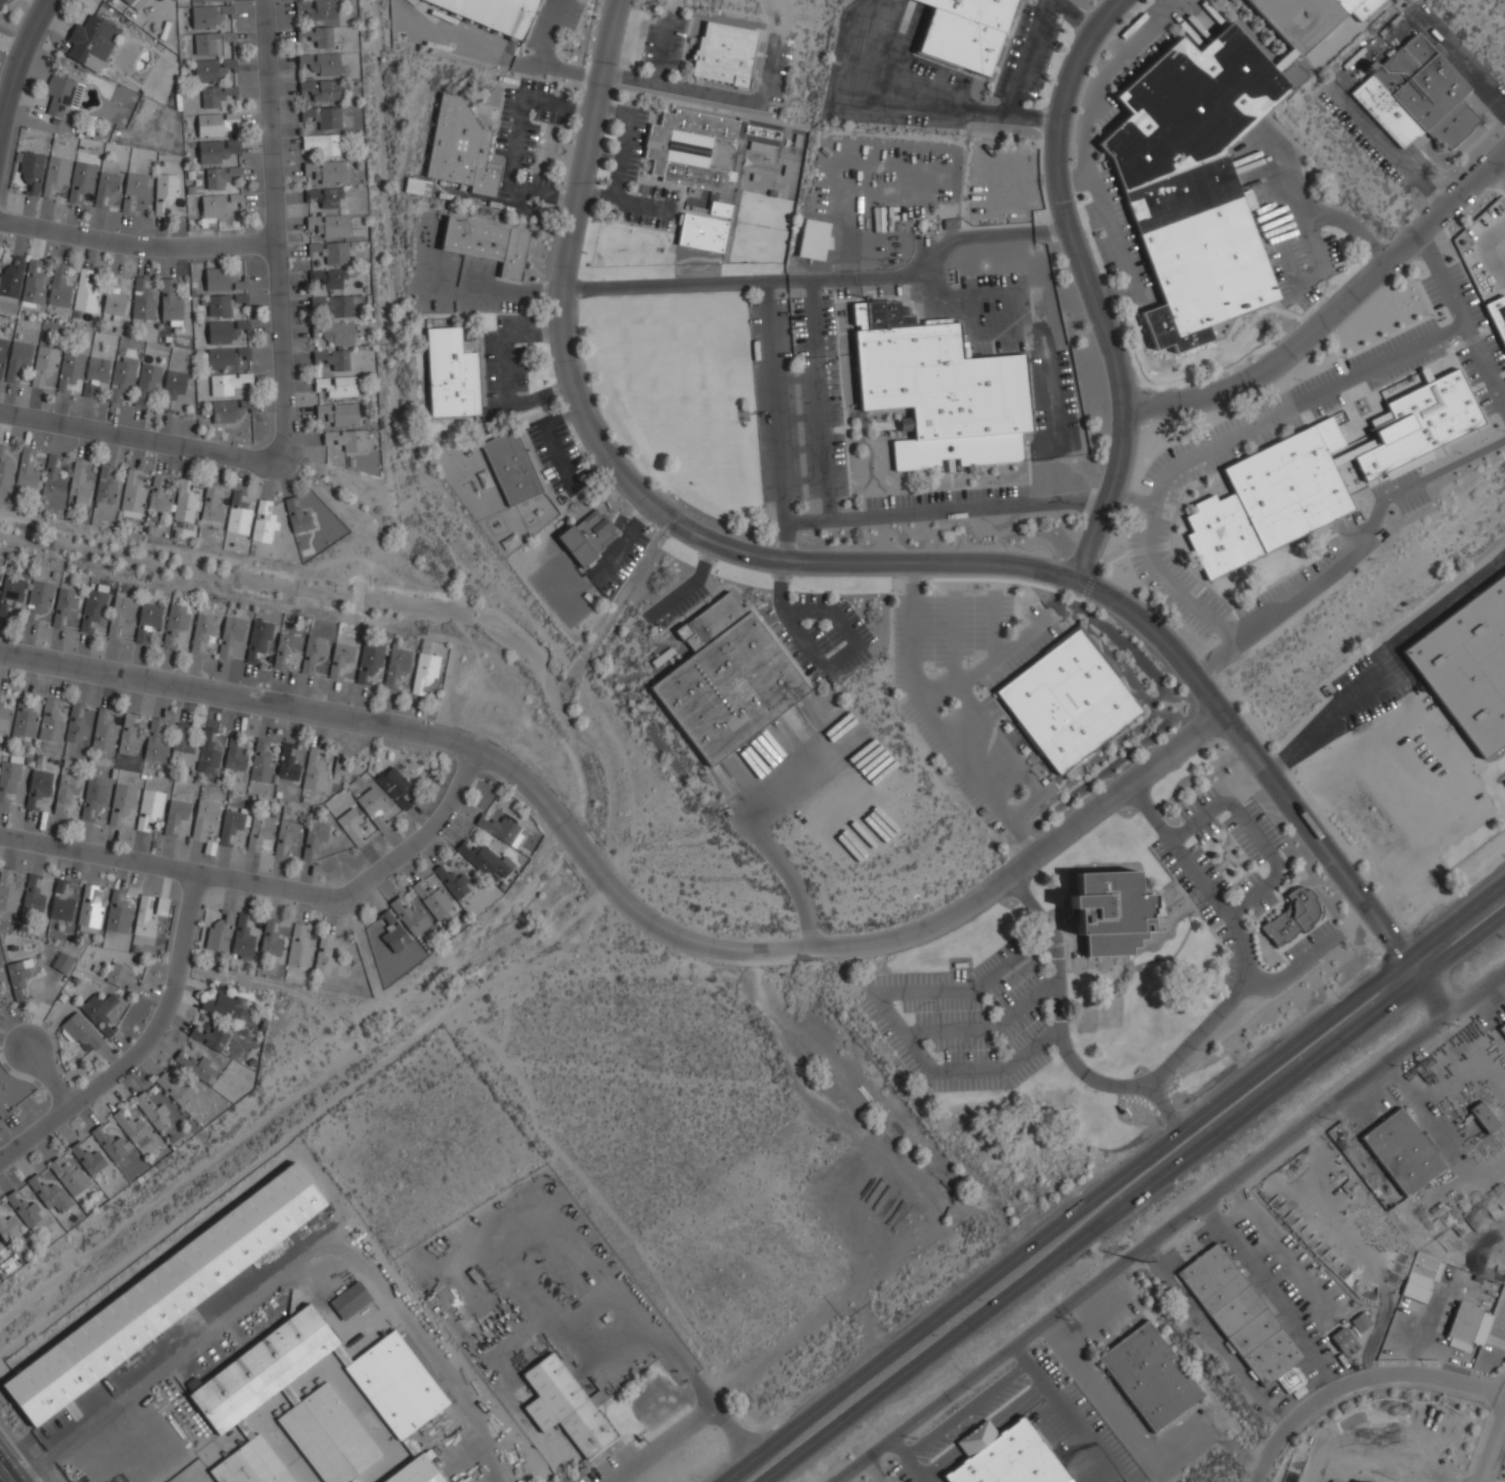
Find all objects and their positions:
building: (210, 0)
building: (1, 2)
building: (128, 2)
building: (316, 9)
building: (494, 13)
building: (207, 17)
building: (1308, 18)
building: (965, 32)
building: (317, 35)
building: (91, 43)
building: (211, 43)
building: (725, 53)
road: (1027, 54)
road: (1459, 61)
road: (20, 62)
building: (321, 63)
building: (211, 70)
building: (321, 89)
building: (62, 94)
building: (216, 95)
building: (1417, 95)
road: (921, 106)
building: (323, 117)
building: (214, 124)
building: (319, 143)
building: (460, 148)
building: (689, 148)
road: (1388, 149)
building: (216, 150)
building: (30, 171)
building: (326, 171)
building: (55, 175)
building: (83, 176)
building: (219, 176)
road: (1497, 179)
building: (1195, 182)
building: (417, 187)
building: (106, 188)
building: (133, 190)
building: (164, 192)
building: (325, 197)
building: (216, 207)
building: (329, 225)
building: (706, 228)
road: (134, 243)
building: (488, 243)
building: (330, 251)
building: (10, 277)
building: (330, 277)
building: (223, 279)
building: (34, 282)
road: (822, 282)
road: (1086, 286)
building: (58, 288)
building: (85, 293)
building: (240, 298)
building: (143, 300)
building: (114, 301)
building: (170, 304)
building: (219, 304)
building: (333, 306)
road: (1332, 316)
building: (1498, 316)
road: (1463, 320)
building: (223, 332)
building: (335, 333)
road: (1013, 339)
building: (2, 354)
building: (225, 357)
building: (17, 358)
building: (333, 359)
building: (44, 364)
road: (277, 367)
building: (70, 370)
building: (95, 374)
building: (451, 374)
building: (121, 379)
building: (146, 382)
building: (226, 383)
building: (173, 385)
building: (337, 386)
building: (939, 389)
road: (820, 399)
road: (1299, 404)
building: (228, 410)
building: (339, 414)
road: (774, 423)
building: (1419, 425)
building: (349, 439)
building: (511, 467)
building: (5, 468)
building: (27, 472)
road: (618, 473)
building: (52, 479)
building: (79, 483)
building: (159, 492)
building: (133, 495)
building: (105, 497)
building: (1271, 499)
building: (185, 503)
building: (211, 505)
road: (944, 507)
building: (238, 514)
building: (297, 517)
building: (263, 523)
road: (1364, 530)
building: (588, 536)
road: (1175, 590)
building: (11, 591)
street lamp: (973, 592)
building: (38, 599)
building: (64, 603)
building: (92, 610)
building: (120, 613)
building: (150, 615)
building: (176, 622)
building: (202, 630)
building: (230, 634)
building: (141, 636)
building: (258, 640)
building: (285, 648)
building: (314, 651)
road: (1382, 658)
building: (341, 660)
building: (369, 661)
building: (1468, 663)
building: (396, 666)
building: (424, 672)
building: (727, 679)
building: (0, 693)
building: (1067, 701)
building: (4, 717)
building: (24, 720)
building: (50, 722)
building: (75, 726)
building: (104, 732)
building: (128, 737)
building: (155, 743)
building: (182, 744)
building: (207, 753)
building: (235, 753)
building: (261, 762)
building: (287, 763)
building: (315, 771)
building: (9, 777)
building: (394, 785)
building: (38, 788)
building: (66, 791)
building: (92, 798)
building: (122, 803)
street lamp: (1182, 805)
building: (373, 806)
building: (150, 807)
building: (175, 814)
building: (204, 816)
building: (233, 826)
building: (352, 826)
building: (501, 830)
building: (259, 832)
building: (313, 838)
building: (288, 840)
building: (485, 860)
building: (452, 882)
road: (270, 886)
building: (7, 894)
building: (33, 894)
road: (618, 896)
building: (432, 899)
building: (60, 903)
building: (161, 906)
building: (89, 907)
street lamp: (1446, 907)
building: (117, 913)
building: (1111, 913)
building: (409, 916)
building: (1292, 917)
building: (144, 918)
street lamp: (1245, 921)
building: (219, 933)
building: (393, 933)
building: (242, 939)
building: (270, 940)
building: (299, 946)
street lamp: (1481, 952)
building: (324, 957)
building: (62, 963)
street lamp: (1261, 965)
street lamp: (967, 968)
building: (19, 974)
building: (121, 978)
street lamp: (1322, 1002)
street lamp: (894, 1005)
building: (229, 1009)
building: (99, 1012)
street lamp: (1050, 1022)
building: (1502, 1028)
building: (83, 1033)
building: (209, 1037)
road: (142, 1045)
street lamp: (1357, 1048)
street lamp: (1194, 1053)
road: (1179, 1056)
street lamp: (937, 1060)
building: (195, 1065)
road: (49, 1079)
building: (174, 1087)
street lamp: (1198, 1097)
road: (1163, 1109)
building: (152, 1111)
building: (1484, 1117)
building: (131, 1127)
street lamp: (1233, 1143)
building: (109, 1144)
building: (1402, 1152)
building: (88, 1159)
building: (67, 1175)
road: (1114, 1184)
building: (49, 1194)
street lamp: (1068, 1197)
road: (1133, 1198)
building: (22, 1209)
building: (8, 1228)
road: (1170, 1228)
street lamp: (1108, 1238)
building: (0, 1248)
power tower: (1141, 1261)
street lamp: (949, 1287)
building: (164, 1294)
building: (351, 1301)
building: (1242, 1318)
building: (1360, 1322)
building: (1467, 1327)
road: (650, 1328)
street lamp: (982, 1331)
building: (1342, 1339)
building: (1149, 1376)
road: (1360, 1382)
street lamp: (826, 1383)
building: (320, 1405)
building: (565, 1407)
road: (722, 1415)
street lamp: (861, 1428)
road: (662, 1444)
road: (1493, 1453)
building: (1005, 1456)
road: (3, 1476)
street lamp: (701, 1477)

